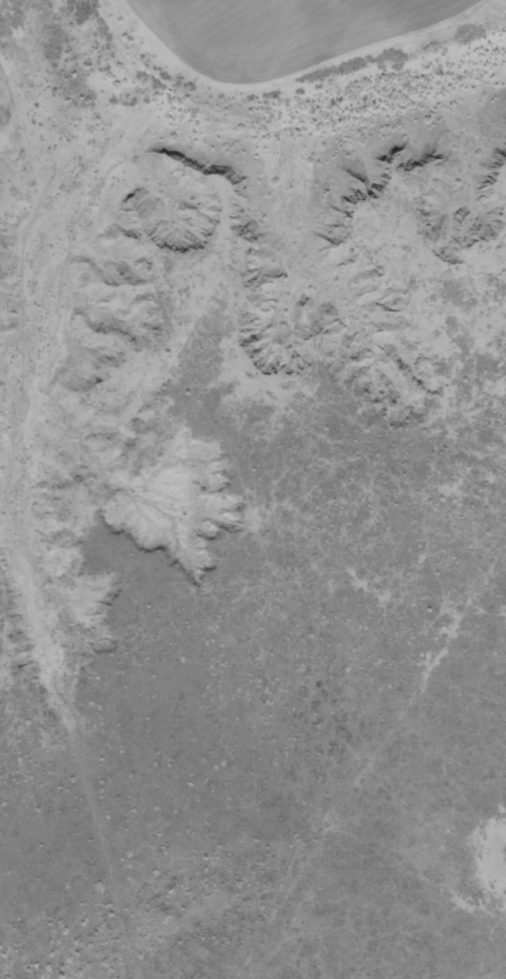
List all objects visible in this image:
river: (268, 121)

